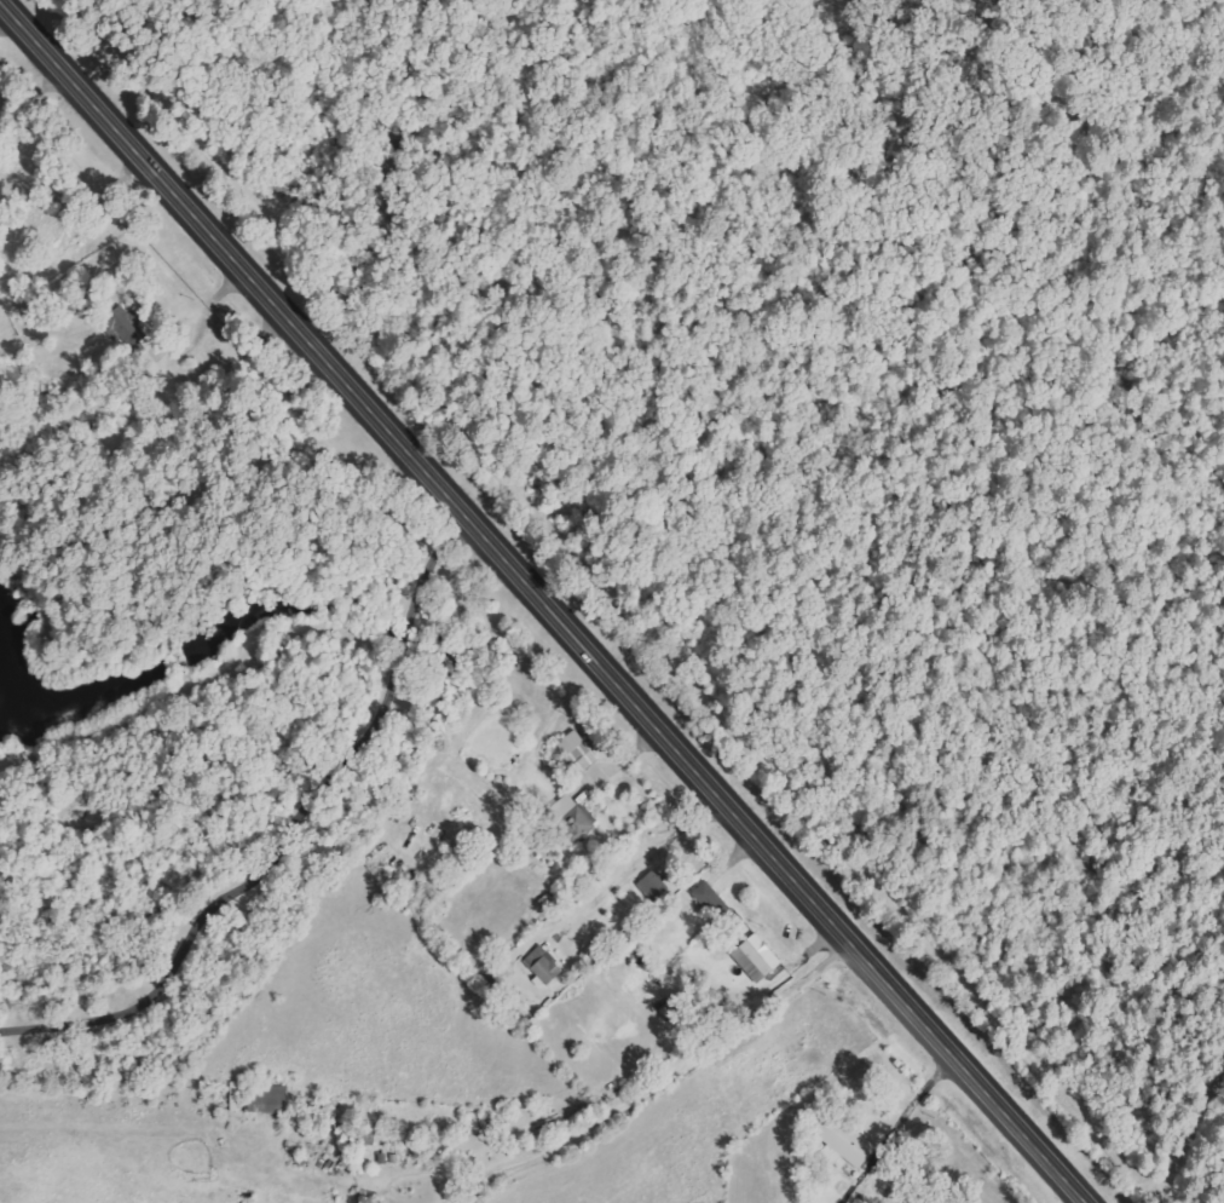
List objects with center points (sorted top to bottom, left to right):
road: (57, 160)
road: (545, 600)
building: (577, 753)
building: (571, 819)
building: (653, 886)
road: (308, 897)
building: (712, 900)
building: (762, 954)
building: (544, 965)
building: (749, 965)
building: (674, 1009)
road: (797, 1098)
building: (270, 1100)
building: (845, 1138)

